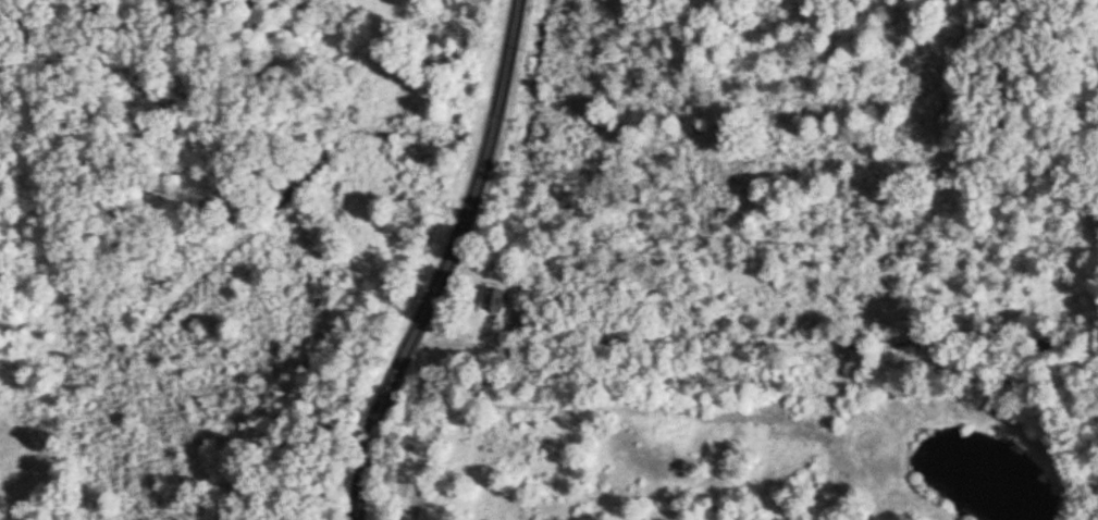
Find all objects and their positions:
road: (445, 263)
building: (493, 301)

